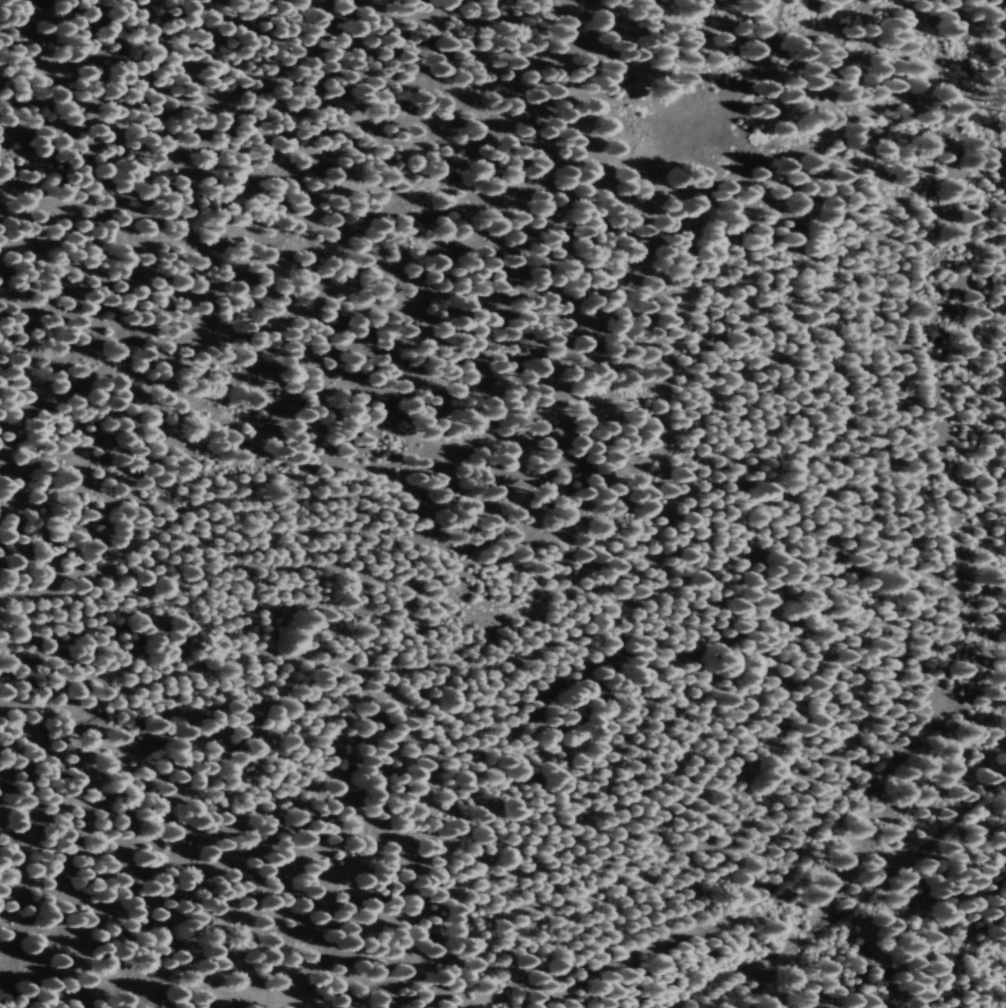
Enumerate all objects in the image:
road: (1001, 17)
road: (892, 916)

